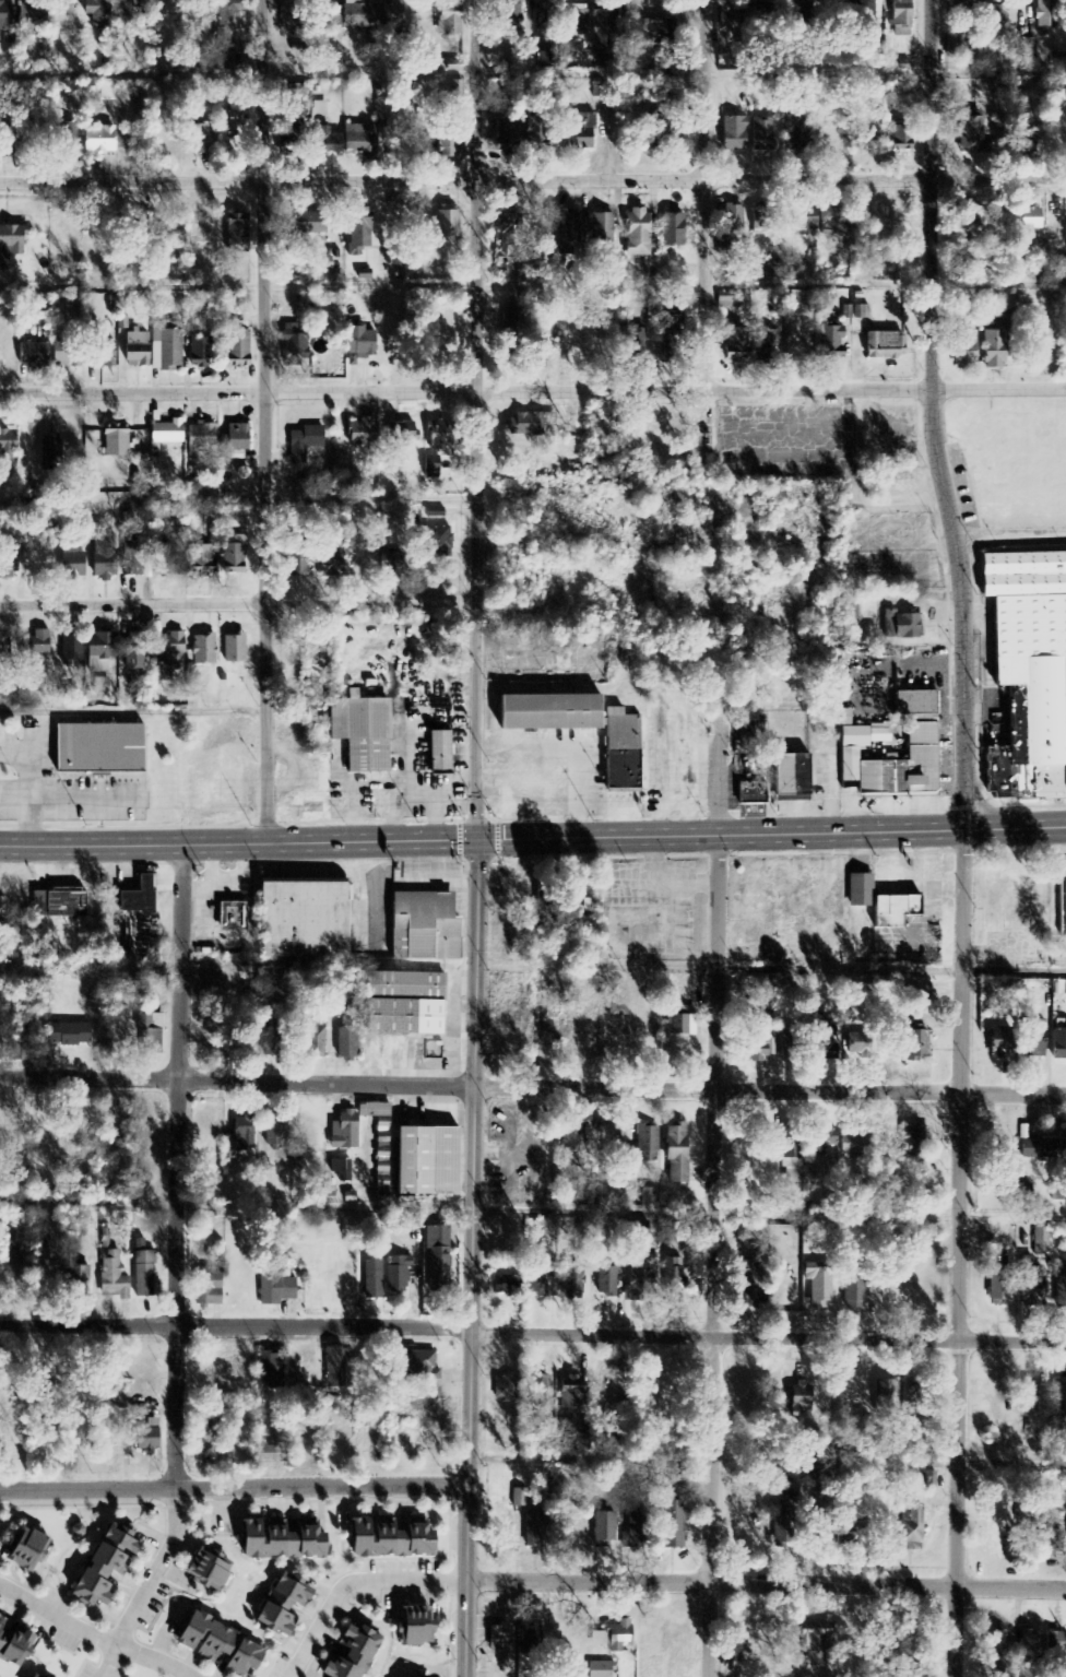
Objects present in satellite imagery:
building: (129, 8)
building: (763, 10)
building: (799, 11)
building: (994, 13)
building: (88, 14)
building: (355, 15)
building: (865, 15)
building: (4, 16)
building: (391, 17)
building: (899, 17)
building: (226, 19)
building: (509, 19)
building: (322, 20)
building: (448, 21)
building: (33, 25)
building: (601, 31)
building: (725, 32)
building: (656, 33)
building: (1028, 46)
building: (222, 62)
building: (896, 66)
building: (455, 90)
building: (107, 93)
building: (299, 109)
building: (797, 132)
building: (733, 134)
building: (970, 135)
building: (505, 137)
building: (576, 137)
building: (761, 137)
building: (196, 140)
building: (900, 140)
building: (1023, 140)
building: (96, 142)
building: (864, 142)
building: (346, 144)
building: (448, 151)
road: (533, 180)
building: (822, 214)
building: (445, 223)
building: (803, 223)
building: (966, 223)
building: (1024, 225)
building: (733, 226)
building: (508, 227)
building: (567, 227)
building: (137, 229)
building: (602, 229)
building: (671, 231)
building: (357, 232)
building: (235, 233)
building: (635, 234)
road: (703, 234)
building: (176, 240)
building: (9, 244)
building: (726, 304)
building: (860, 314)
building: (673, 319)
building: (636, 342)
building: (829, 342)
building: (357, 345)
building: (736, 345)
building: (768, 345)
building: (992, 345)
building: (165, 346)
building: (880, 346)
building: (137, 349)
building: (293, 350)
building: (962, 350)
building: (236, 351)
building: (197, 354)
building: (32, 355)
building: (104, 356)
road: (532, 391)
road: (932, 416)
road: (265, 422)
building: (517, 427)
building: (165, 434)
building: (359, 434)
building: (400, 434)
building: (236, 438)
building: (437, 439)
building: (197, 441)
building: (114, 442)
building: (303, 445)
building: (8, 447)
building: (49, 450)
building: (430, 469)
building: (233, 553)
building: (103, 558)
building: (328, 560)
building: (8, 562)
building: (198, 562)
building: (164, 563)
building: (71, 565)
building: (297, 565)
building: (132, 567)
road: (236, 605)
building: (867, 606)
building: (907, 627)
building: (38, 643)
building: (4, 645)
building: (232, 650)
building: (204, 651)
building: (87, 652)
building: (169, 658)
building: (132, 660)
building: (1029, 670)
building: (913, 705)
road: (133, 712)
building: (844, 719)
building: (580, 725)
building: (362, 730)
building: (439, 749)
building: (96, 751)
building: (920, 755)
road: (718, 764)
building: (791, 778)
building: (750, 794)
road: (473, 838)
road: (533, 838)
traffic signals: (473, 839)
building: (1016, 896)
building: (135, 899)
building: (1062, 899)
building: (67, 904)
building: (879, 904)
building: (232, 918)
building: (304, 918)
building: (424, 924)
building: (404, 1002)
building: (684, 1026)
building: (821, 1029)
building: (149, 1034)
building: (68, 1036)
building: (1032, 1039)
building: (313, 1042)
building: (345, 1044)
building: (1058, 1044)
building: (915, 1046)
building: (997, 1049)
building: (753, 1053)
road: (532, 1086)
building: (374, 1111)
building: (274, 1132)
building: (345, 1132)
building: (240, 1135)
building: (576, 1142)
building: (824, 1142)
building: (853, 1143)
building: (912, 1143)
building: (644, 1145)
building: (1042, 1147)
building: (675, 1154)
building: (424, 1162)
road: (177, 1166)
building: (342, 1170)
building: (650, 1197)
building: (1041, 1242)
road: (958, 1253)
road: (712, 1255)
building: (436, 1260)
building: (396, 1274)
building: (144, 1275)
building: (114, 1277)
building: (638, 1278)
building: (372, 1280)
building: (572, 1282)
building: (673, 1282)
building: (79, 1283)
building: (542, 1283)
building: (606, 1283)
building: (1029, 1286)
building: (505, 1287)
building: (274, 1288)
building: (817, 1288)
building: (209, 1289)
building: (996, 1289)
building: (852, 1296)
road: (533, 1332)
building: (333, 1360)
building: (142, 1365)
building: (421, 1368)
building: (270, 1371)
building: (145, 1387)
building: (504, 1389)
building: (537, 1392)
building: (570, 1394)
building: (884, 1397)
building: (797, 1400)
building: (1057, 1404)
building: (146, 1438)
building: (270, 1450)
building: (926, 1480)
road: (232, 1487)
building: (519, 1499)
building: (670, 1526)
building: (637, 1530)
building: (909, 1530)
building: (531, 1531)
building: (602, 1532)
building: (281, 1537)
building: (389, 1537)
building: (1051, 1543)
building: (25, 1548)
building: (105, 1563)
building: (208, 1567)
road: (763, 1583)
building: (283, 1602)
building: (416, 1623)
building: (613, 1638)
building: (530, 1639)
building: (495, 1640)
building: (14, 1643)
building: (814, 1643)
building: (885, 1643)
building: (221, 1644)
building: (1030, 1648)
building: (993, 1649)
building: (1055, 1650)
building: (351, 1652)
building: (597, 1669)
building: (35, 1675)

